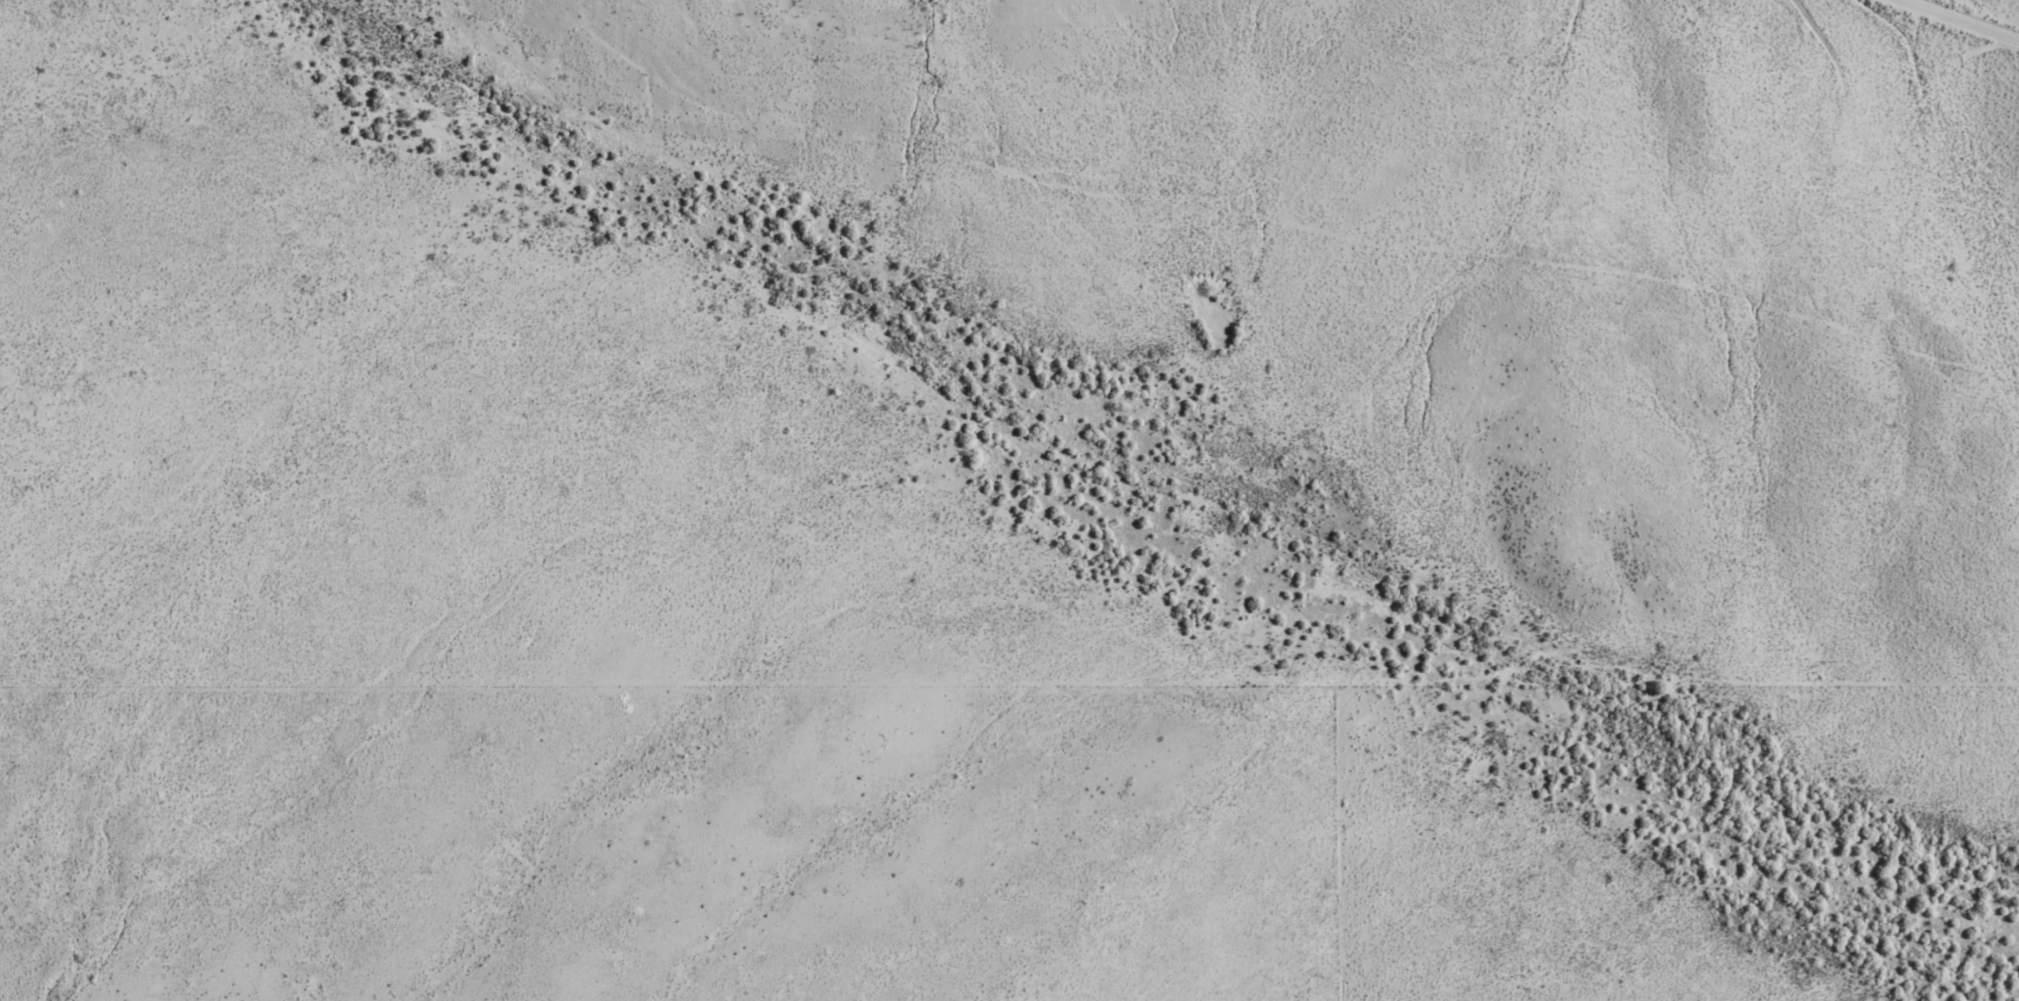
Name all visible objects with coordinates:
road: (1957, 21)

